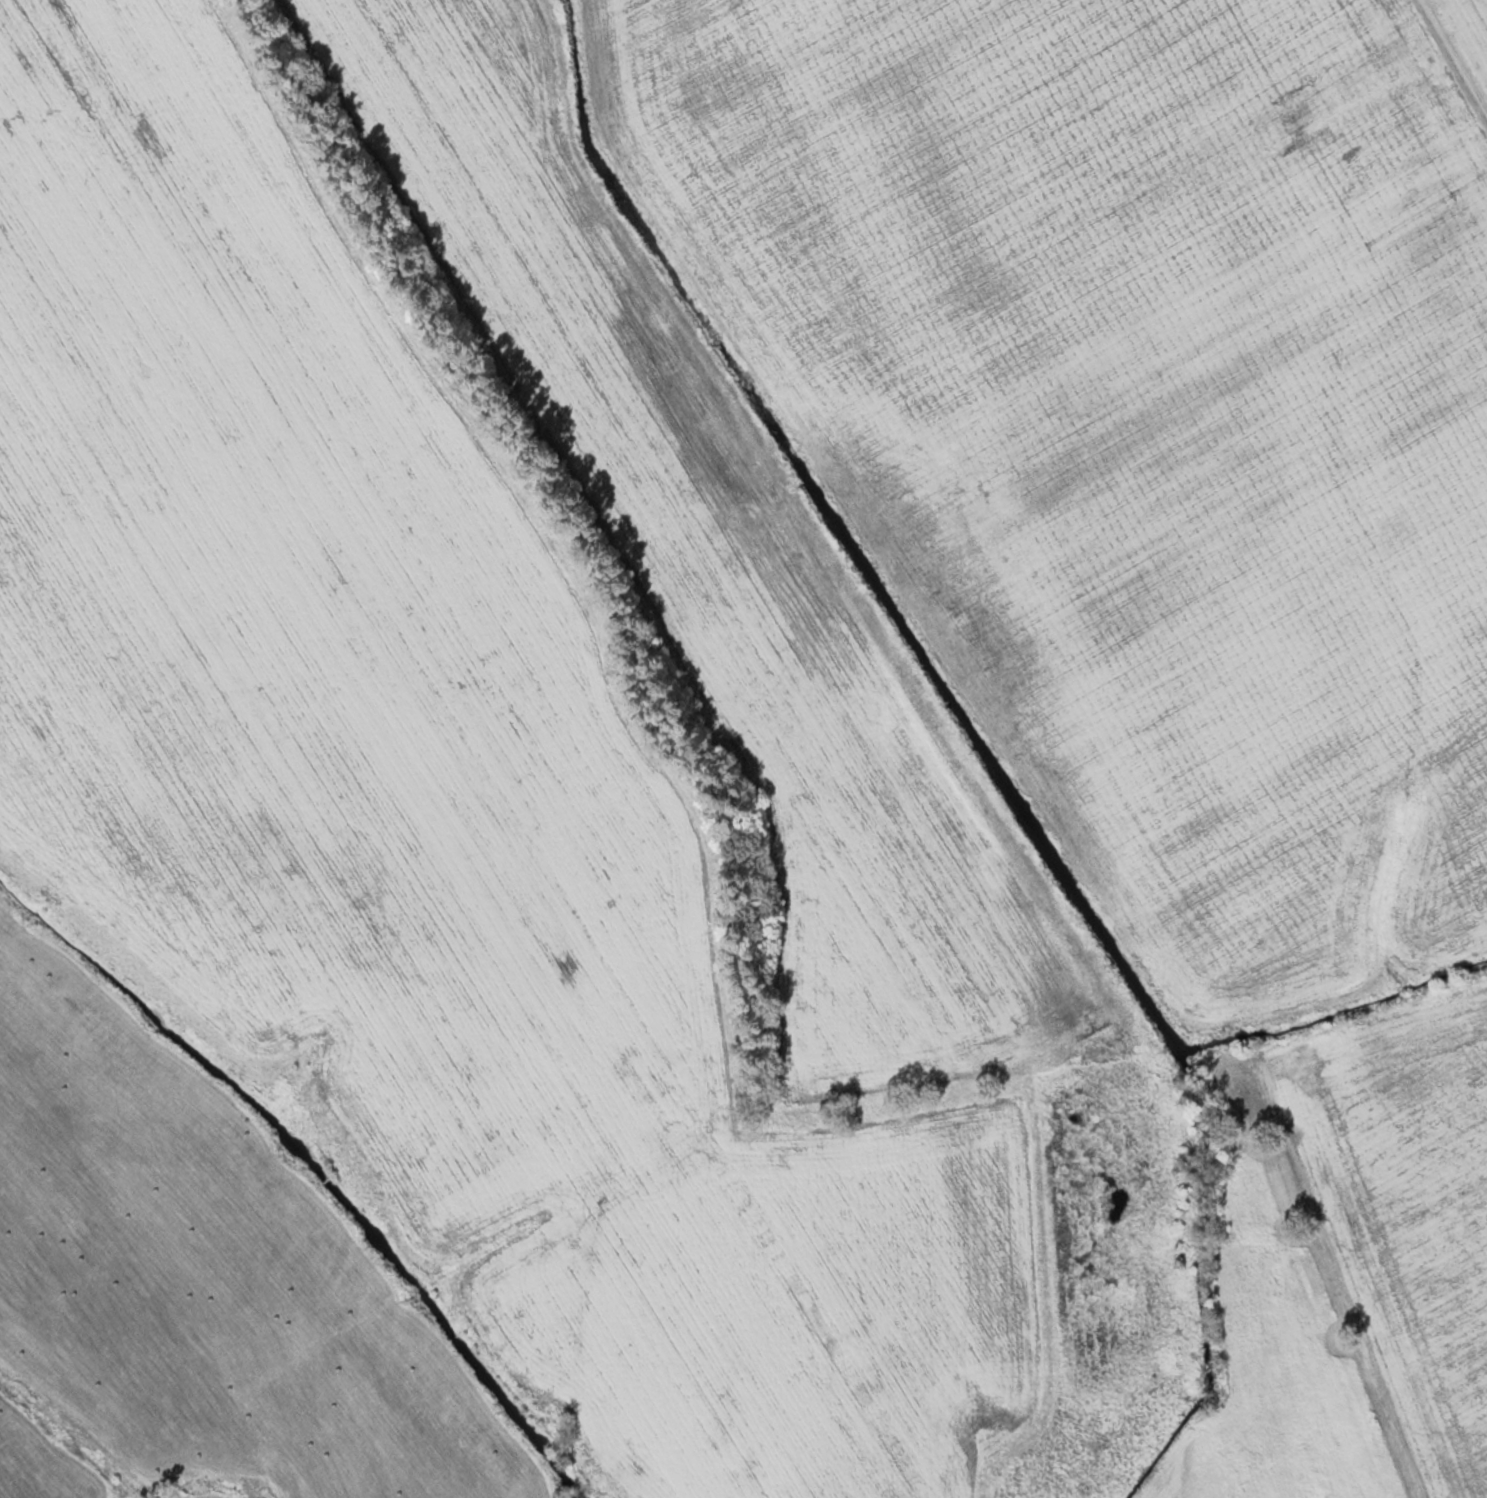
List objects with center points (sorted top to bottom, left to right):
road: (1453, 58)

